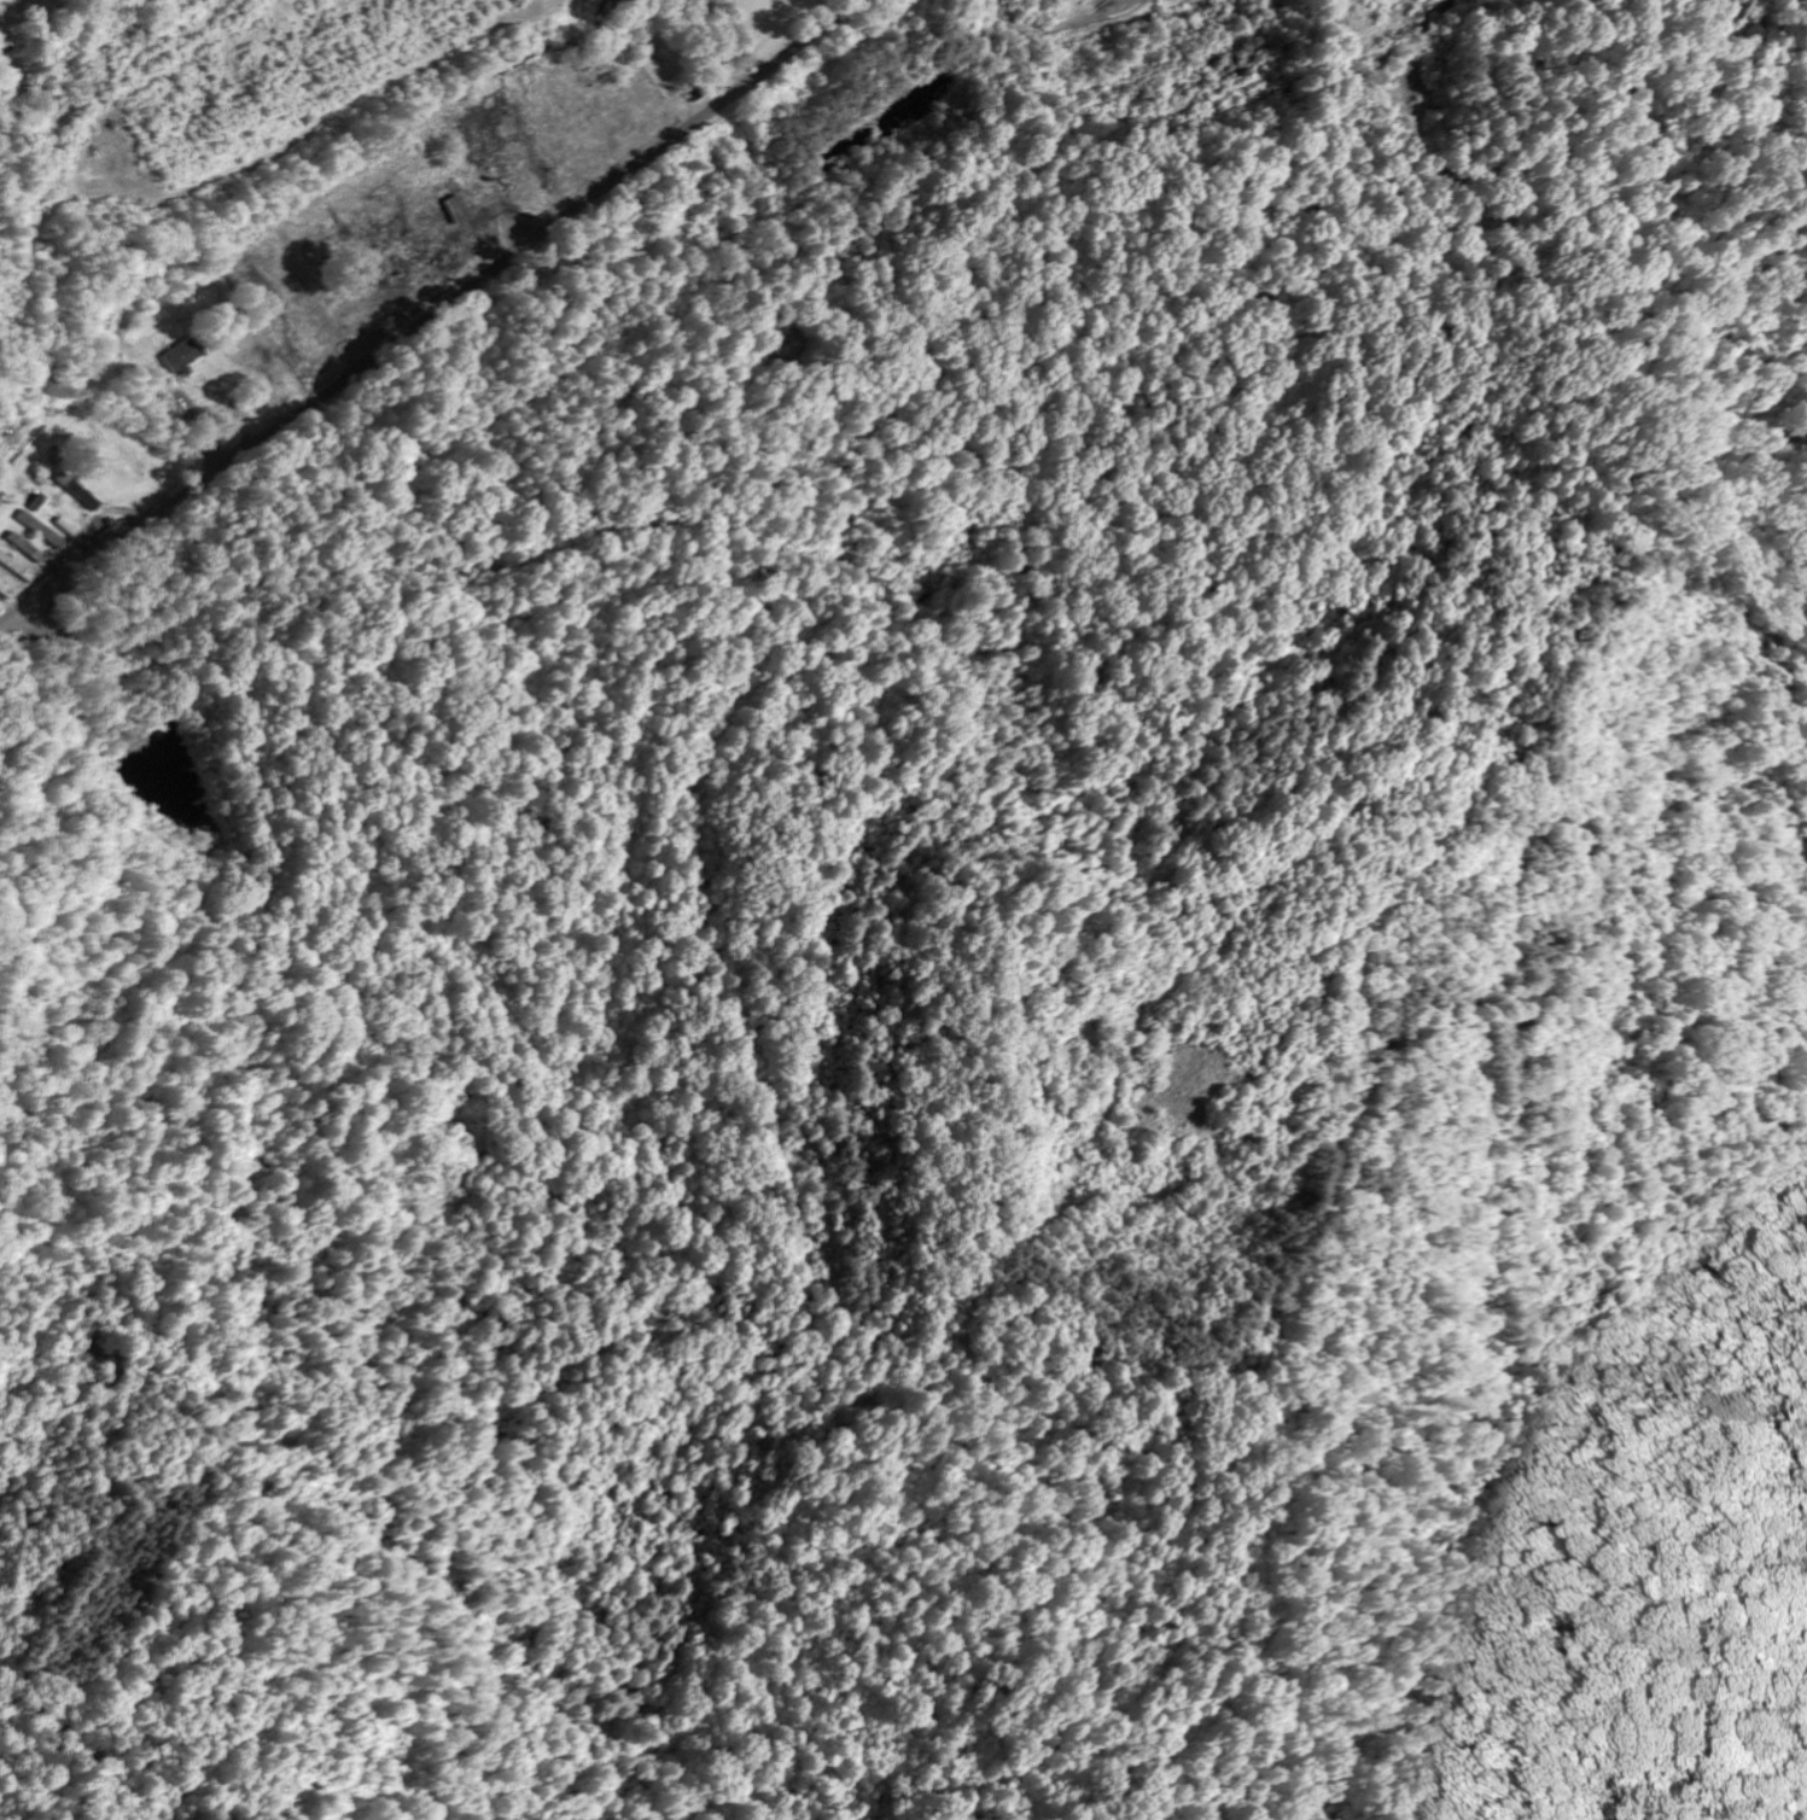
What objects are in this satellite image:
road: (707, 51)
road: (438, 310)
building: (186, 356)
building: (77, 491)
building: (36, 503)
building: (40, 530)
building: (25, 548)
building: (16, 568)
building: (6, 590)
road: (8, 625)

